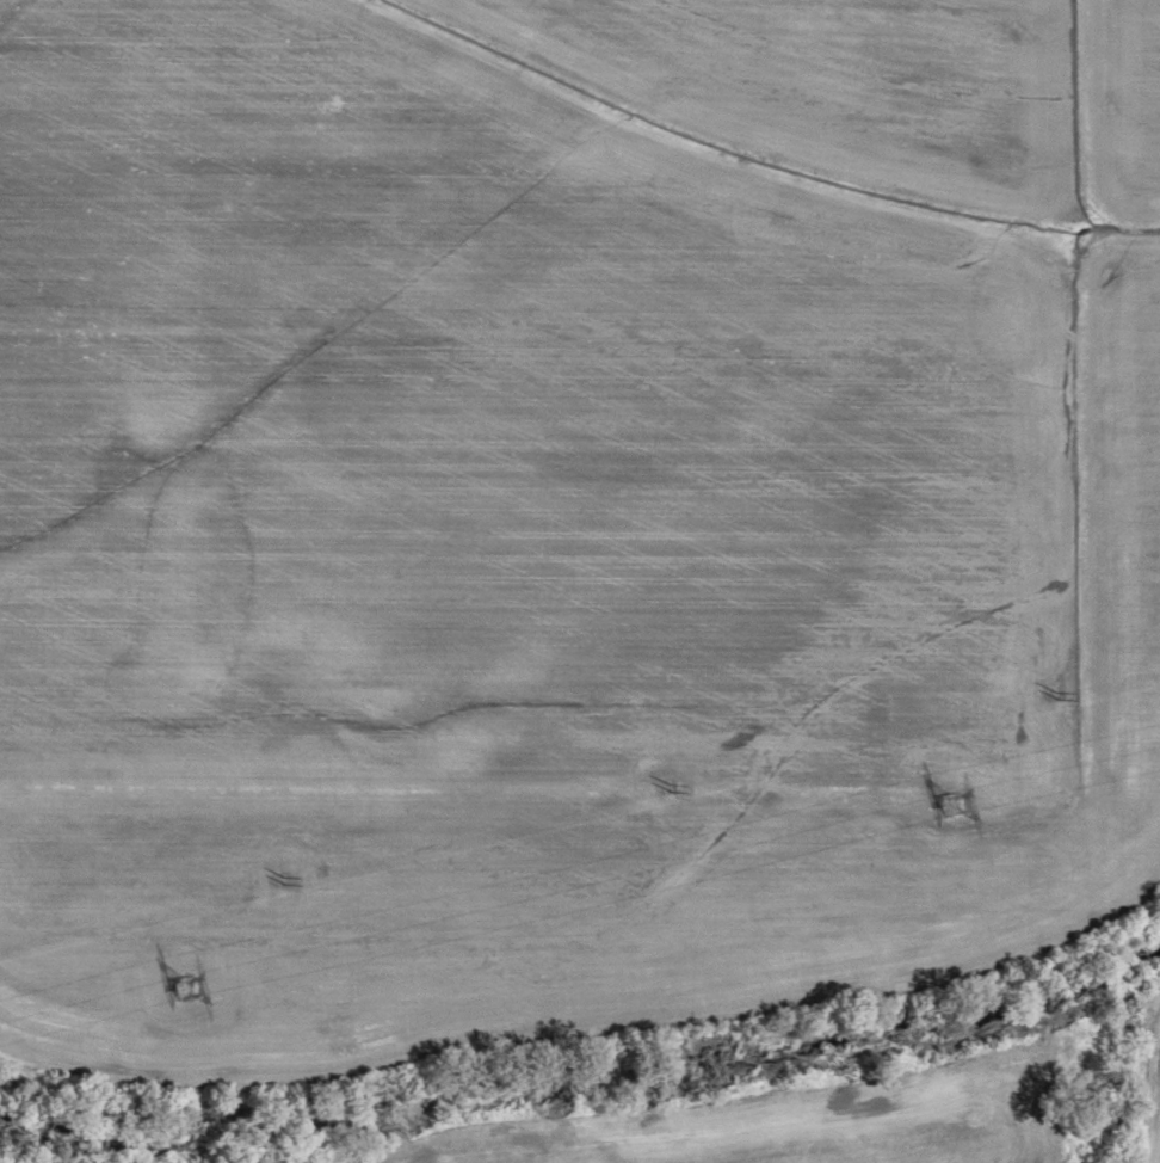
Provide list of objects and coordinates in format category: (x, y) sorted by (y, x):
power tower: (943, 800)
power tower: (168, 982)

